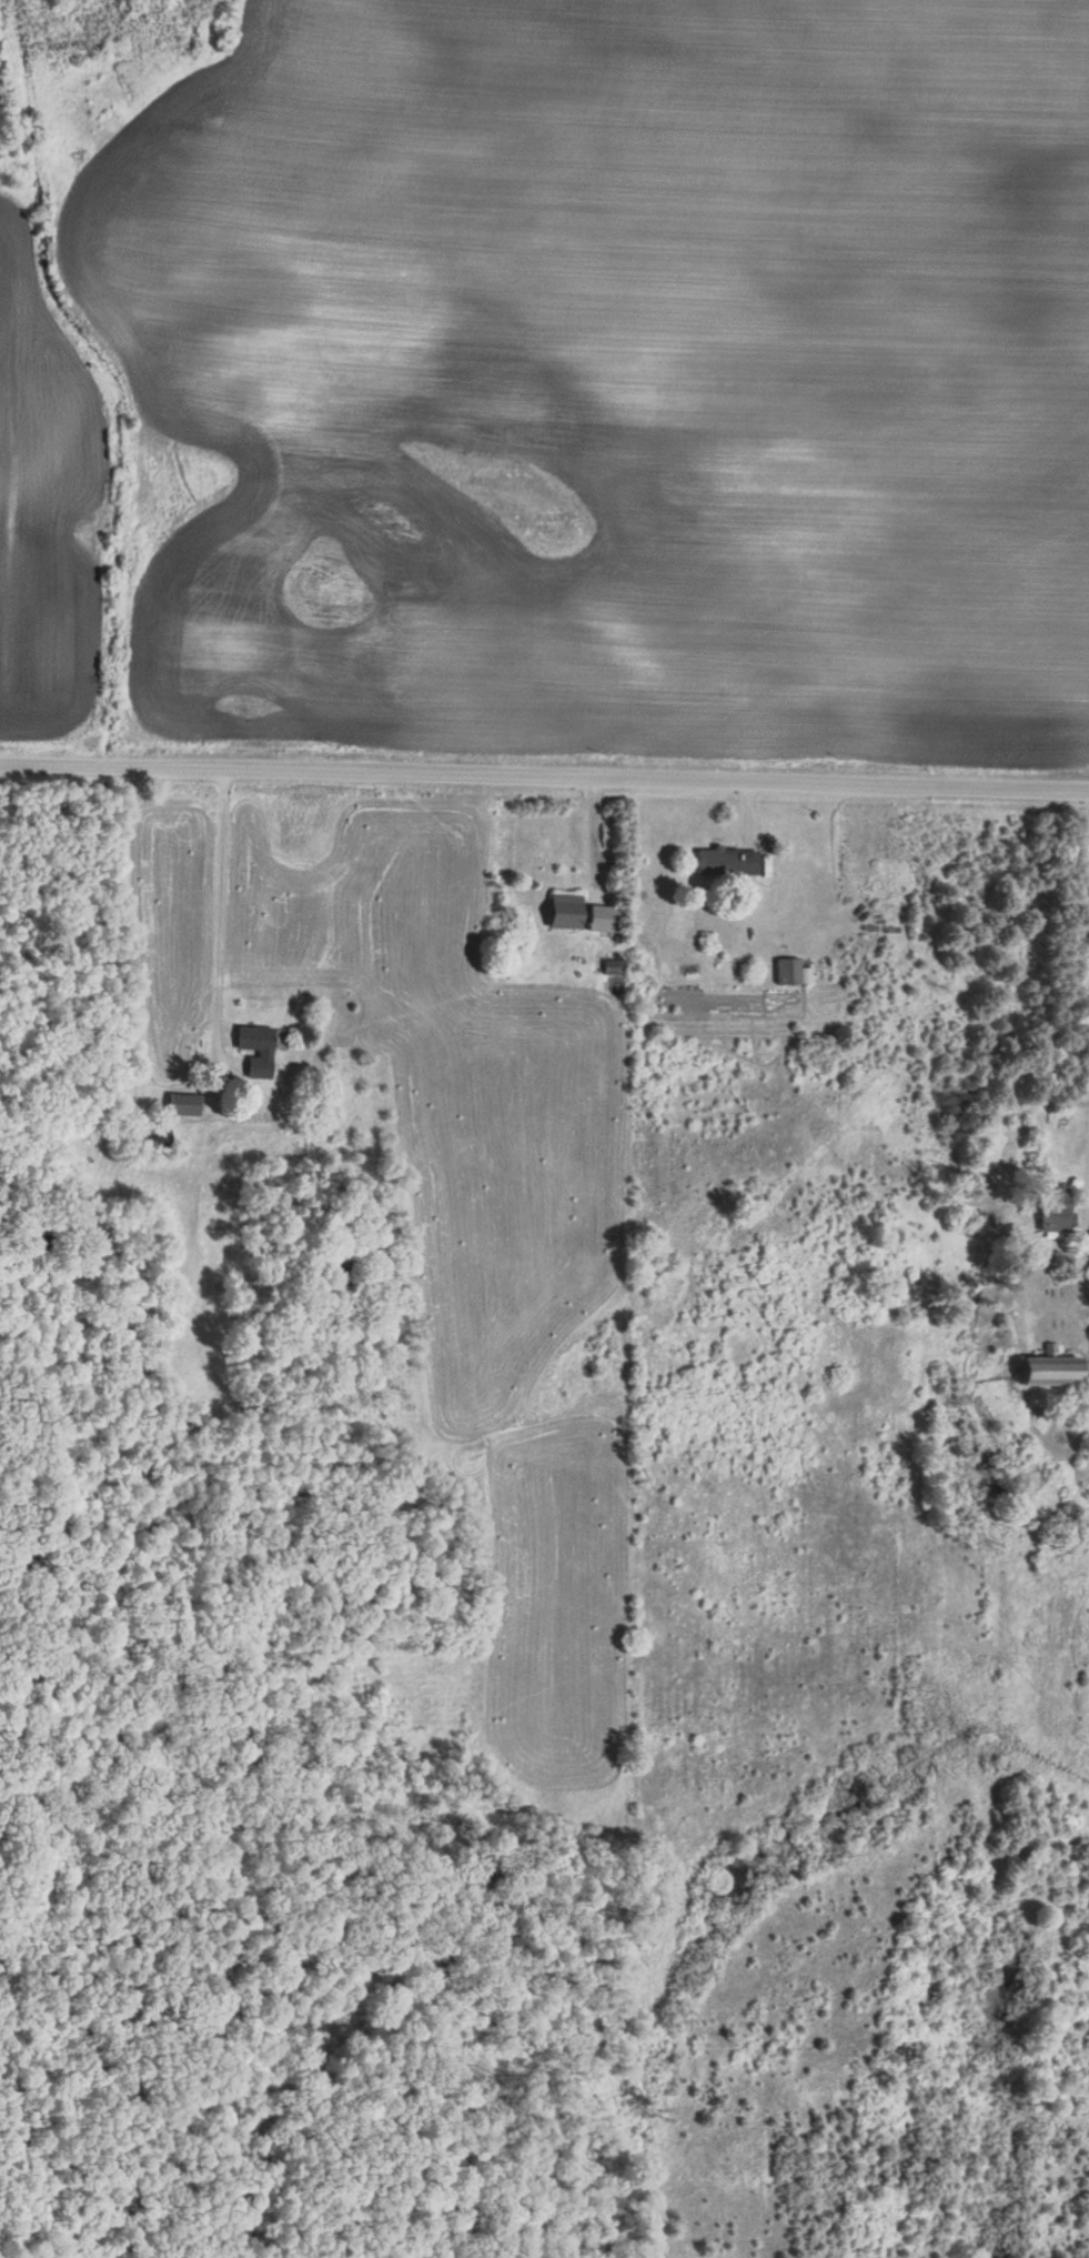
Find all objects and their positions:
road: (544, 775)
building: (726, 863)
building: (567, 913)
building: (605, 920)
road: (216, 922)
building: (788, 972)
building: (256, 1051)
building: (185, 1106)
road: (1085, 1155)
building: (1056, 1369)

